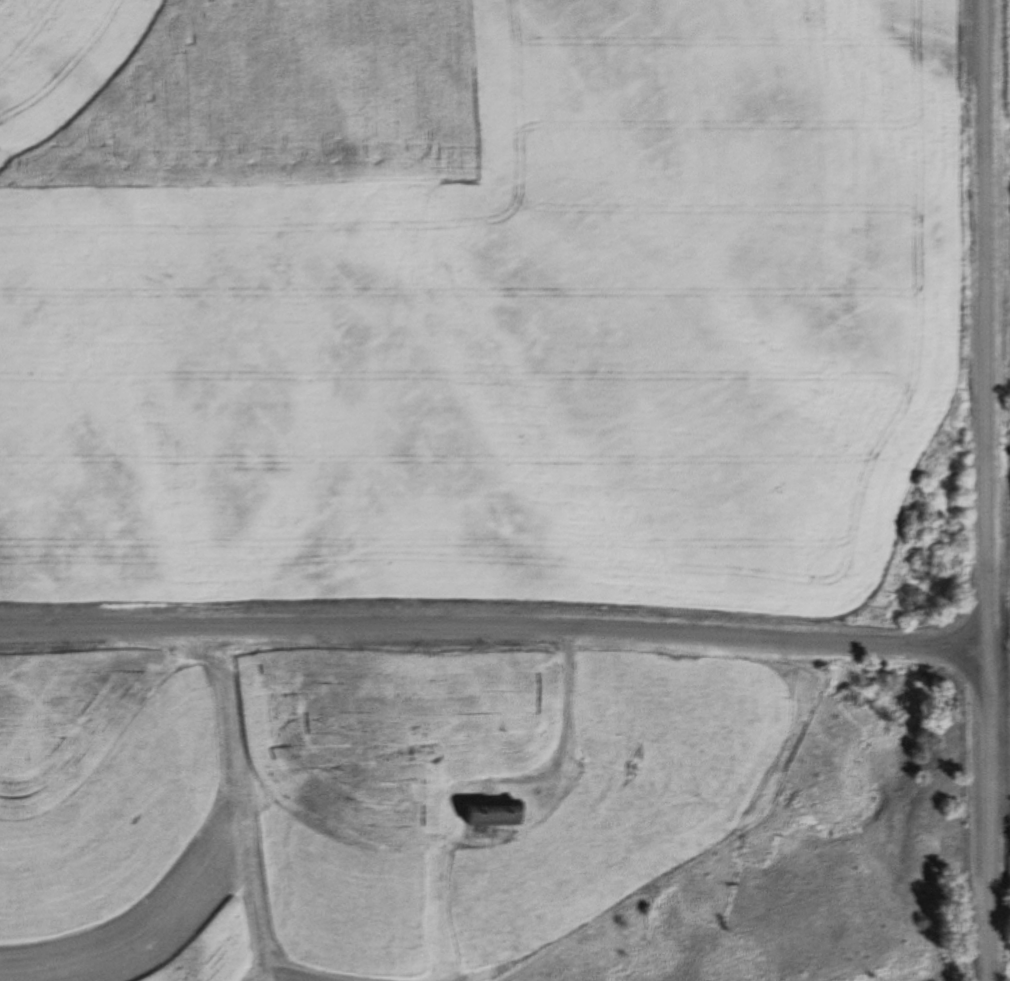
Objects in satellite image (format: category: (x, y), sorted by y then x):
road: (988, 490)
road: (494, 629)
building: (496, 813)

